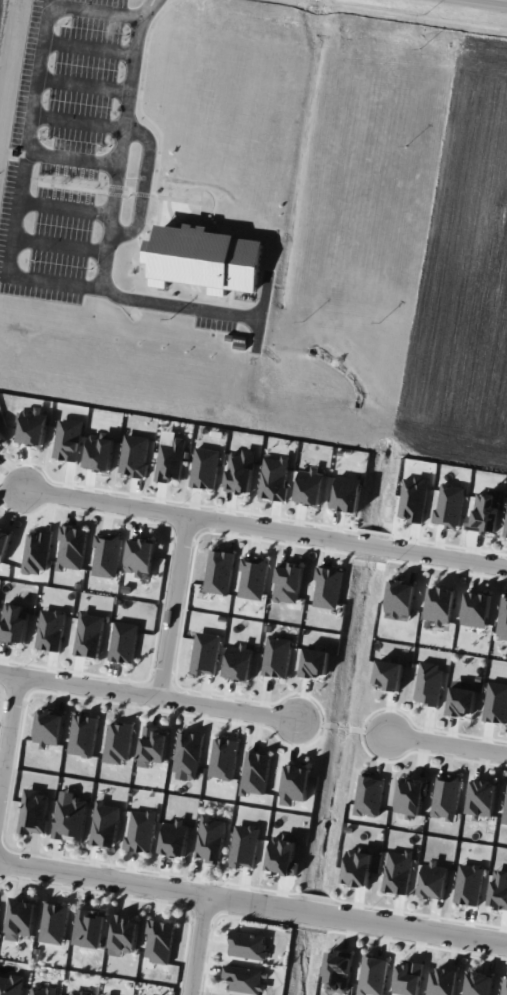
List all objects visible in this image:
road: (145, 8)
road: (143, 183)
building: (149, 250)
building: (206, 259)
road: (8, 272)
road: (172, 303)
building: (33, 426)
building: (68, 439)
building: (2, 440)
building: (99, 452)
building: (134, 455)
building: (170, 457)
building: (205, 468)
building: (241, 471)
building: (275, 478)
building: (310, 486)
road: (112, 493)
building: (347, 493)
building: (413, 498)
building: (449, 505)
building: (485, 511)
building: (505, 528)
road: (349, 530)
building: (3, 543)
building: (71, 548)
building: (36, 553)
building: (106, 555)
building: (140, 557)
building: (219, 571)
building: (253, 577)
building: (288, 582)
building: (328, 587)
building: (400, 597)
road: (175, 603)
building: (439, 605)
building: (476, 609)
building: (502, 620)
building: (14, 622)
building: (50, 629)
building: (88, 634)
building: (123, 641)
building: (205, 653)
building: (276, 656)
building: (239, 661)
building: (315, 663)
building: (388, 674)
building: (428, 682)
road: (79, 687)
building: (461, 698)
building: (495, 703)
road: (228, 710)
building: (49, 727)
building: (83, 735)
road: (9, 737)
road: (448, 741)
building: (117, 742)
building: (152, 746)
building: (188, 753)
building: (223, 758)
building: (255, 772)
building: (295, 784)
building: (368, 795)
building: (410, 796)
building: (446, 797)
building: (482, 797)
building: (505, 810)
building: (34, 811)
building: (70, 819)
building: (104, 824)
building: (140, 831)
building: (174, 838)
building: (210, 839)
building: (243, 845)
building: (282, 854)
building: (357, 868)
building: (397, 872)
building: (433, 880)
building: (468, 884)
building: (499, 889)
road: (253, 903)
building: (21, 917)
building: (54, 923)
building: (90, 927)
building: (124, 935)
building: (159, 941)
building: (247, 945)
road: (198, 946)
building: (337, 970)
building: (372, 975)
building: (244, 978)
building: (408, 978)
building: (443, 981)
building: (479, 983)
building: (12, 984)
building: (504, 986)
building: (42, 990)
building: (76, 993)

